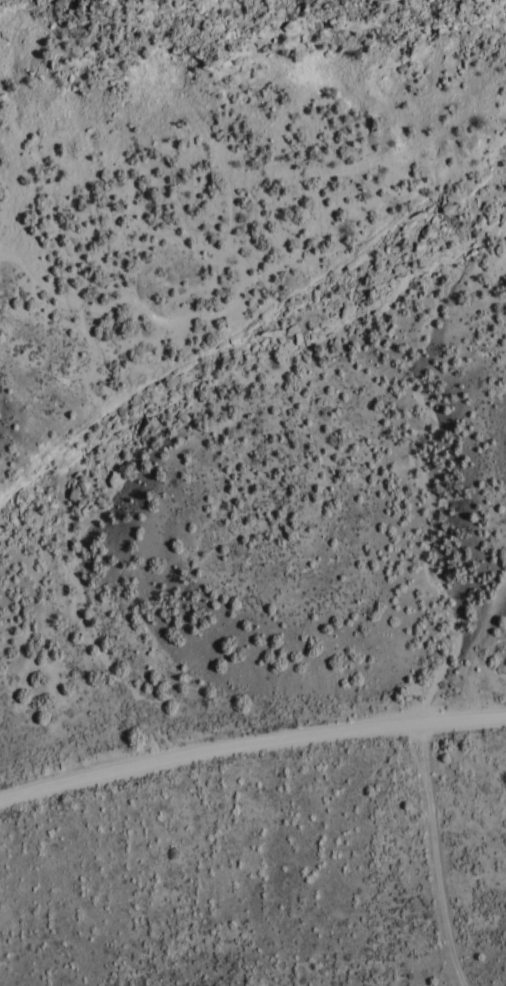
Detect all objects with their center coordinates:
road: (250, 741)

